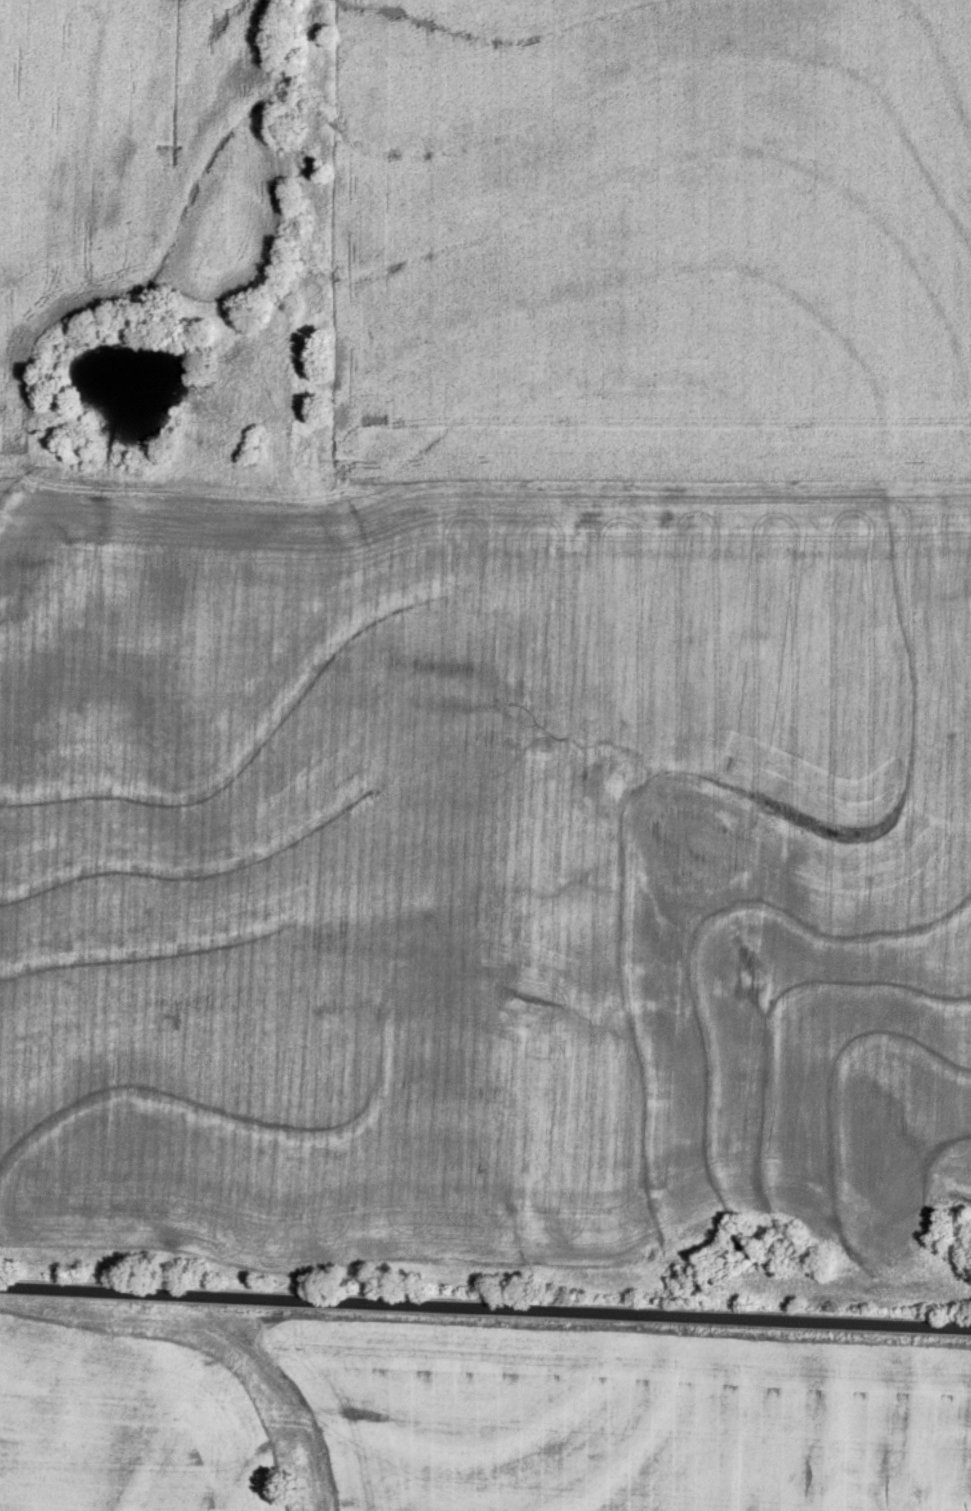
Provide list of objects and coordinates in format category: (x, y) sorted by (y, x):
road: (485, 1308)

